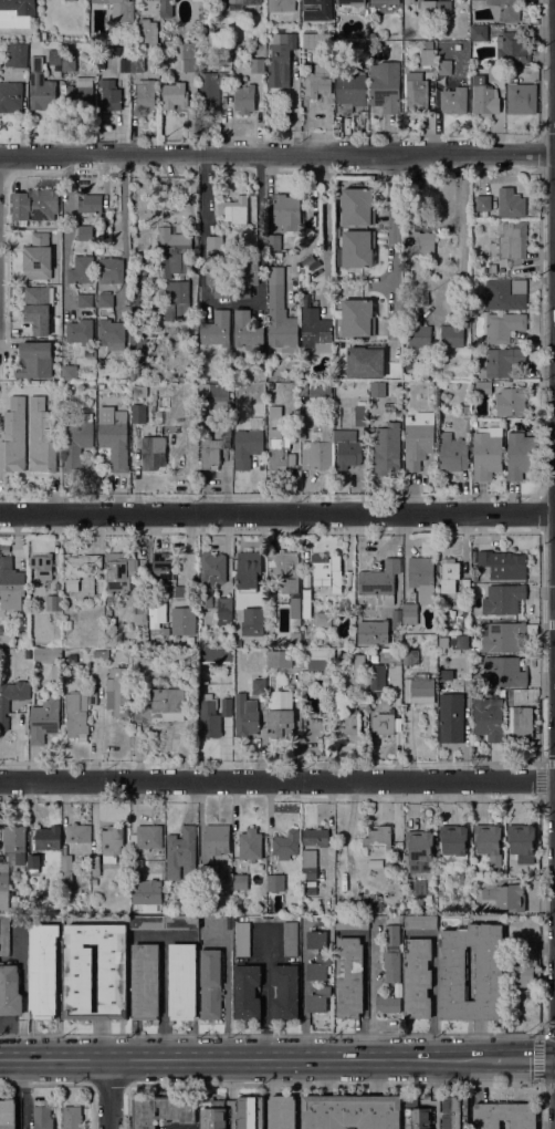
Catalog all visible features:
building: (70, 0)
building: (198, 0)
building: (409, 0)
building: (384, 2)
building: (241, 3)
building: (353, 4)
building: (281, 6)
building: (166, 8)
building: (428, 8)
building: (443, 8)
building: (15, 9)
building: (118, 9)
building: (317, 10)
building: (505, 10)
building: (147, 31)
building: (479, 33)
building: (46, 35)
building: (316, 40)
building: (32, 44)
building: (429, 44)
building: (512, 48)
building: (360, 51)
building: (15, 54)
building: (189, 56)
building: (428, 56)
building: (54, 58)
building: (281, 60)
building: (69, 62)
building: (136, 64)
building: (258, 65)
building: (443, 66)
building: (478, 68)
building: (513, 69)
building: (124, 71)
building: (495, 73)
building: (101, 74)
building: (321, 81)
building: (386, 86)
building: (41, 87)
building: (211, 90)
building: (350, 90)
building: (417, 92)
building: (145, 94)
building: (80, 95)
building: (175, 95)
building: (111, 96)
building: (11, 97)
building: (484, 97)
building: (522, 99)
building: (244, 100)
building: (454, 100)
road: (277, 156)
building: (503, 203)
building: (91, 204)
building: (35, 205)
building: (358, 206)
building: (234, 209)
building: (286, 210)
road: (123, 230)
building: (85, 232)
road: (67, 234)
building: (513, 240)
building: (214, 242)
building: (273, 242)
building: (420, 245)
building: (356, 249)
road: (392, 252)
building: (172, 253)
road: (201, 256)
building: (38, 257)
building: (82, 270)
building: (111, 270)
building: (218, 275)
building: (305, 276)
building: (244, 278)
building: (138, 289)
building: (503, 296)
building: (178, 298)
building: (105, 299)
building: (85, 300)
building: (38, 309)
building: (358, 318)
building: (281, 321)
building: (503, 327)
building: (217, 329)
building: (248, 331)
building: (315, 331)
building: (81, 332)
building: (418, 332)
building: (453, 333)
building: (112, 334)
building: (138, 343)
building: (35, 360)
building: (366, 361)
building: (501, 362)
building: (70, 372)
building: (135, 374)
building: (406, 376)
building: (399, 384)
building: (88, 385)
building: (442, 385)
building: (483, 387)
building: (378, 390)
building: (138, 391)
building: (210, 392)
building: (321, 392)
building: (511, 402)
building: (467, 412)
building: (138, 413)
building: (275, 415)
building: (362, 415)
building: (13, 437)
building: (41, 437)
building: (115, 438)
building: (418, 439)
building: (77, 442)
building: (214, 446)
building: (247, 447)
building: (318, 447)
building: (347, 448)
building: (387, 448)
building: (153, 453)
building: (452, 453)
building: (486, 453)
building: (277, 455)
building: (521, 455)
road: (277, 514)
building: (503, 564)
building: (163, 566)
building: (42, 567)
building: (284, 569)
building: (121, 570)
building: (248, 570)
building: (327, 571)
building: (81, 574)
building: (450, 576)
building: (422, 578)
building: (379, 579)
building: (213, 582)
building: (10, 584)
building: (465, 584)
building: (100, 589)
building: (185, 592)
building: (504, 600)
building: (306, 602)
building: (53, 603)
building: (139, 605)
building: (294, 608)
building: (155, 609)
building: (465, 612)
building: (409, 613)
building: (400, 619)
building: (182, 620)
building: (224, 620)
building: (323, 620)
building: (253, 621)
building: (474, 624)
building: (464, 625)
building: (66, 628)
building: (440, 628)
building: (153, 630)
building: (502, 636)
building: (295, 639)
building: (305, 639)
building: (157, 641)
building: (462, 642)
building: (373, 651)
building: (442, 651)
building: (102, 652)
building: (262, 652)
building: (28, 653)
building: (48, 655)
building: (216, 655)
building: (411, 656)
building: (280, 659)
building: (374, 659)
building: (320, 660)
building: (359, 663)
building: (503, 672)
building: (55, 674)
building: (377, 677)
building: (41, 684)
building: (419, 688)
building: (117, 692)
building: (502, 693)
building: (363, 696)
building: (92, 698)
building: (4, 706)
building: (163, 706)
building: (226, 707)
building: (251, 709)
building: (280, 714)
building: (210, 717)
building: (44, 718)
building: (75, 718)
building: (451, 718)
building: (488, 718)
building: (520, 722)
building: (348, 723)
building: (383, 724)
building: (326, 725)
road: (277, 783)
building: (77, 832)
building: (147, 837)
building: (315, 837)
building: (378, 837)
building: (48, 838)
building: (217, 839)
building: (14, 840)
building: (489, 842)
building: (522, 842)
building: (112, 843)
building: (454, 843)
building: (250, 845)
building: (285, 845)
building: (419, 851)
building: (181, 854)
building: (33, 863)
building: (95, 864)
building: (308, 864)
building: (396, 864)
building: (388, 866)
building: (138, 867)
building: (66, 872)
building: (388, 873)
building: (453, 878)
building: (240, 882)
building: (275, 882)
building: (477, 883)
building: (3, 884)
building: (440, 893)
building: (504, 897)
building: (418, 902)
building: (406, 904)
building: (325, 921)
building: (420, 922)
building: (164, 923)
building: (352, 923)
building: (391, 935)
building: (4, 939)
building: (242, 939)
building: (291, 939)
building: (317, 940)
building: (391, 965)
building: (523, 965)
building: (318, 967)
building: (43, 971)
building: (489, 973)
building: (349, 977)
building: (418, 977)
building: (78, 980)
building: (145, 981)
building: (182, 981)
building: (211, 984)
building: (285, 988)
building: (10, 991)
building: (245, 991)
road: (268, 993)
road: (226, 995)
building: (316, 1003)
building: (388, 1004)
road: (245, 1058)
road: (523, 1059)
road: (109, 1094)
building: (161, 1109)
building: (352, 1111)
building: (250, 1112)
building: (282, 1112)
building: (436, 1112)
building: (8, 1114)
building: (504, 1115)
building: (42, 1118)
building: (72, 1118)
building: (214, 1118)

